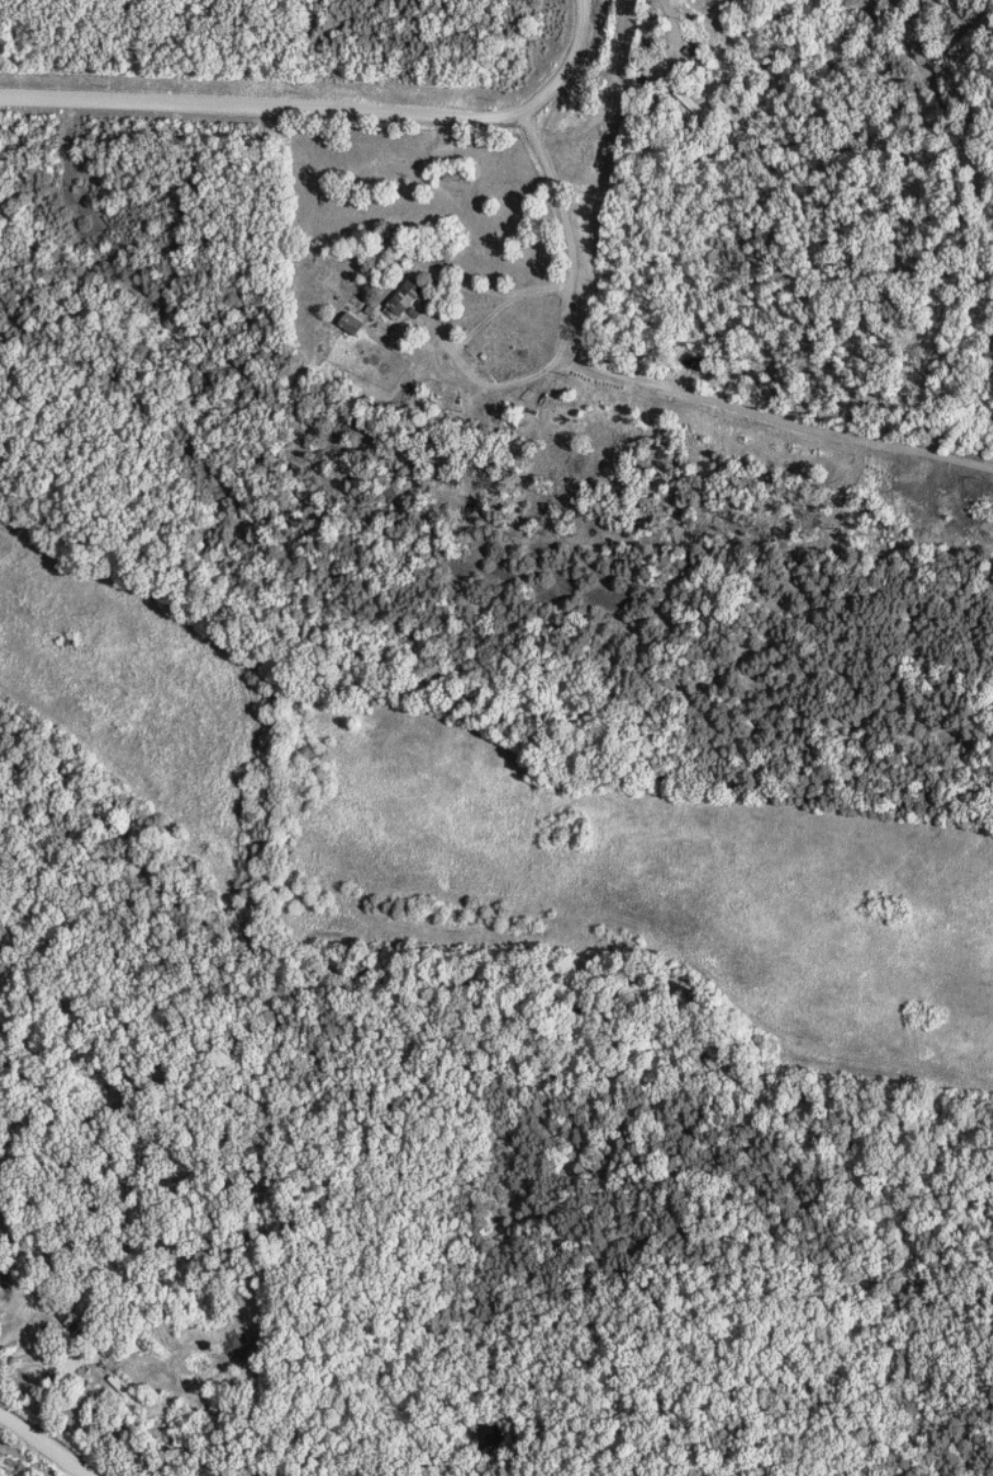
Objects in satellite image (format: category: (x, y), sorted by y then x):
road: (327, 108)
building: (408, 299)
building: (355, 323)
road: (659, 383)
road: (45, 1443)

